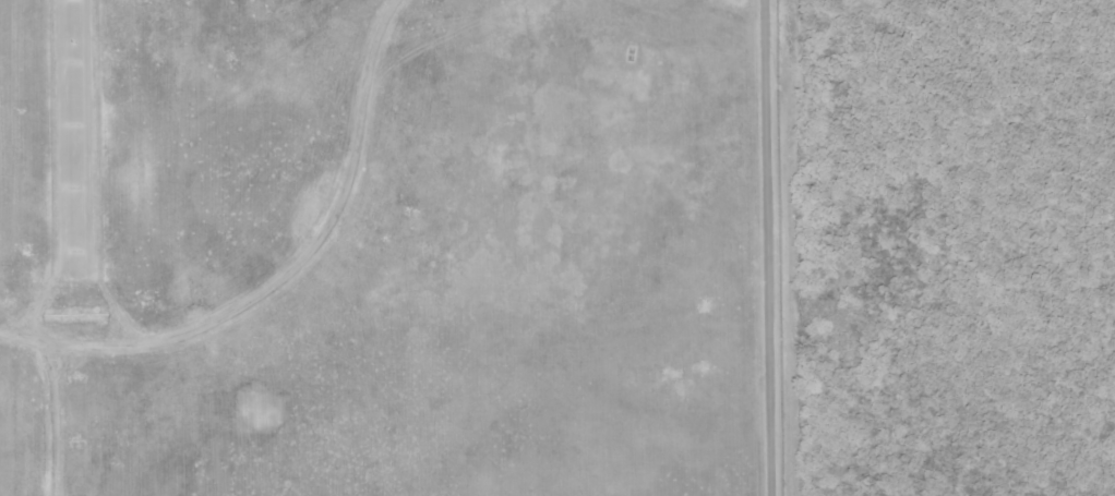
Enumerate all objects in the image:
road: (774, 247)

